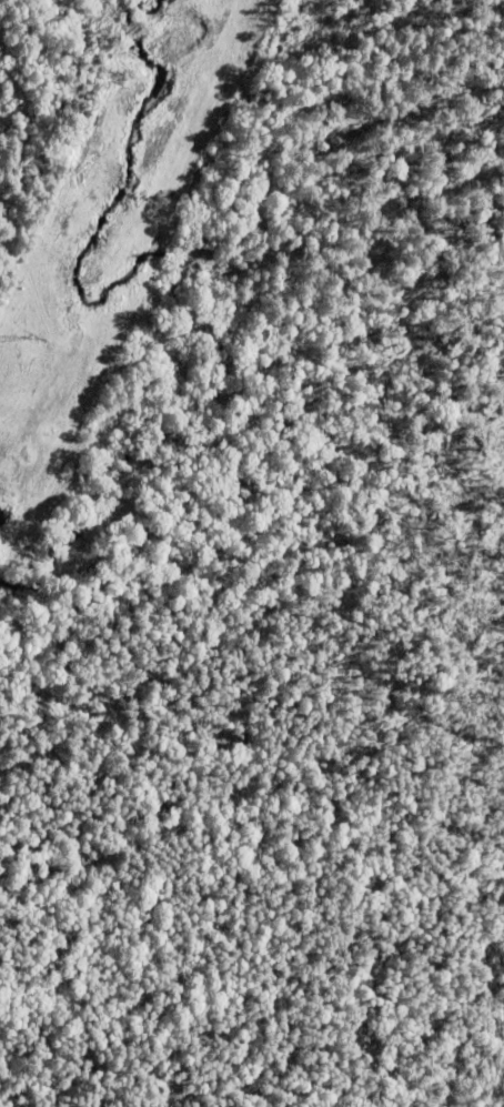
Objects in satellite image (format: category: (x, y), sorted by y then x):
power tower: (28, 335)

